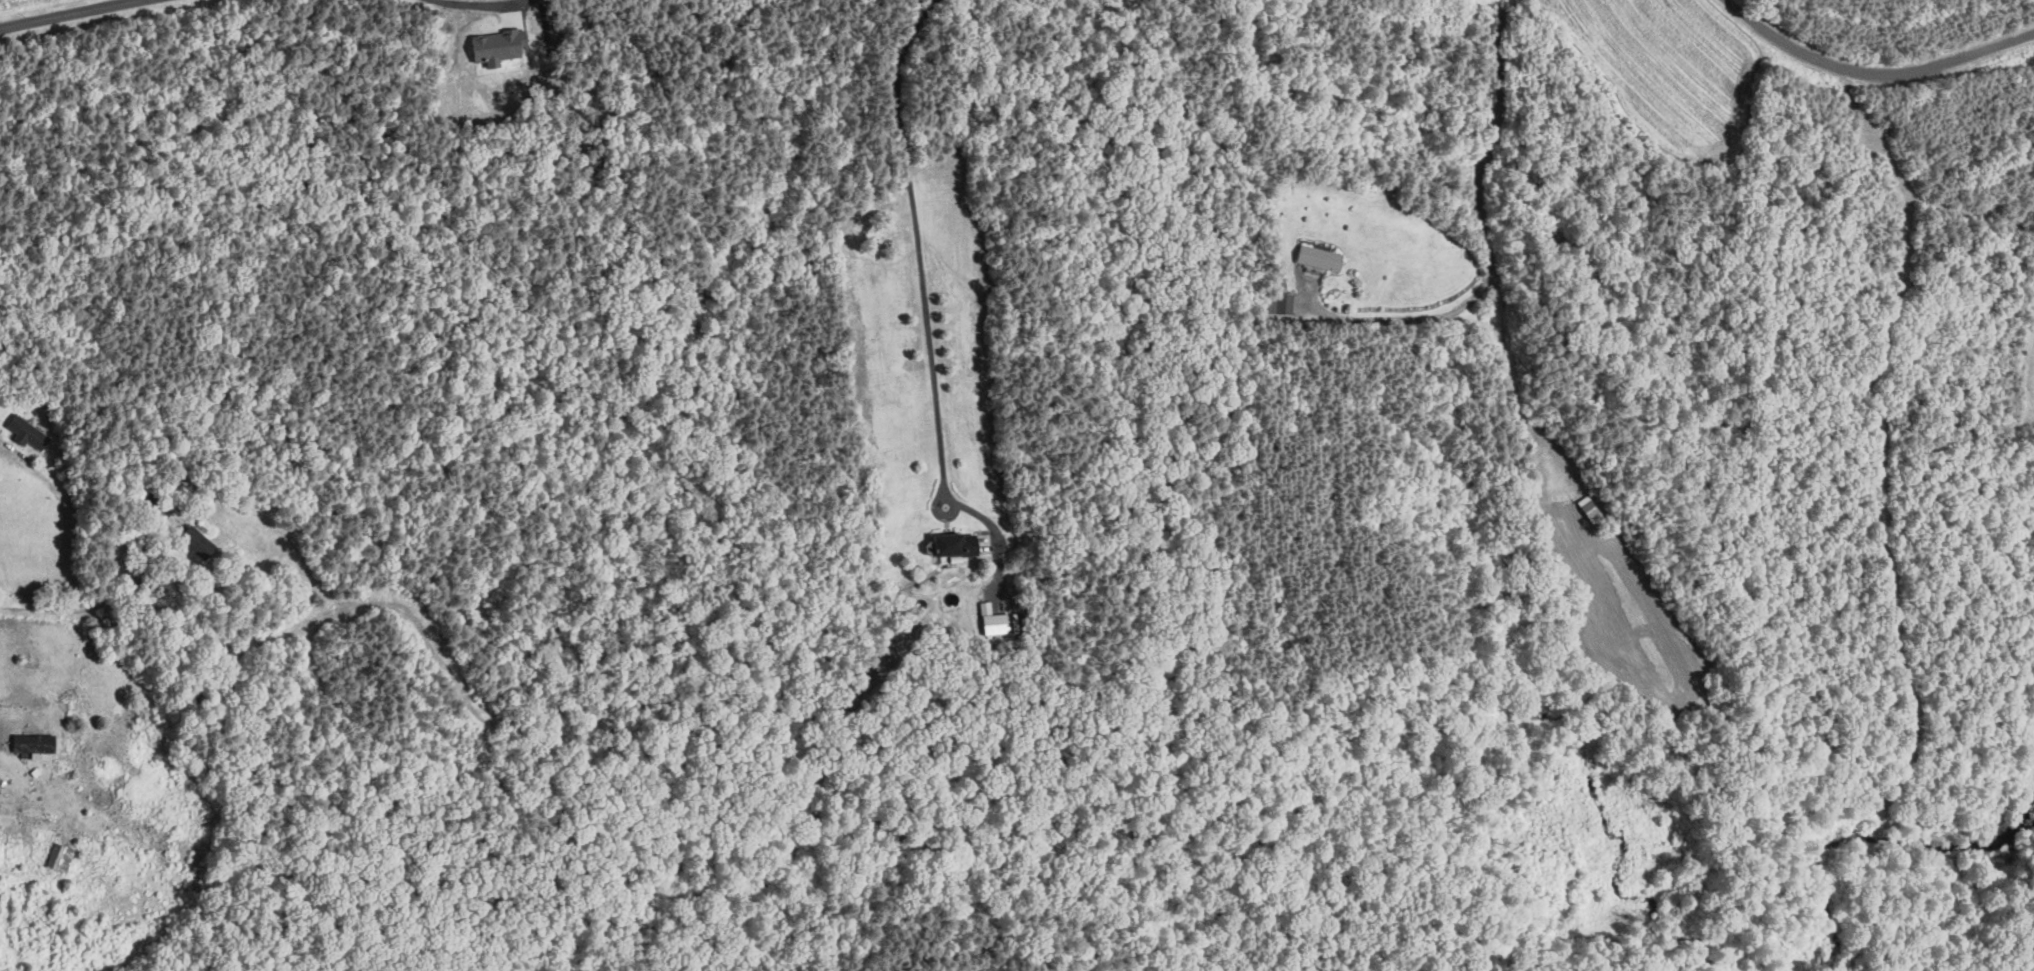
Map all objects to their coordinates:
road: (483, 4)
road: (66, 14)
building: (494, 46)
road: (1879, 67)
road: (1488, 246)
road: (916, 247)
building: (1314, 257)
building: (1281, 302)
building: (23, 431)
road: (997, 529)
building: (196, 539)
building: (948, 545)
road: (71, 547)
building: (990, 619)
road: (4, 733)
building: (36, 742)
building: (62, 856)

